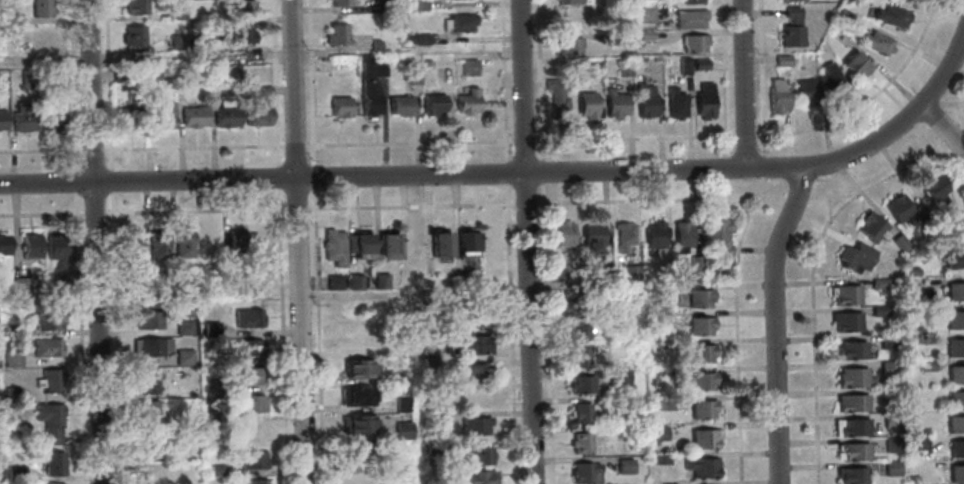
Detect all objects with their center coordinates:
building: (789, 0)
building: (690, 1)
building: (852, 1)
building: (339, 2)
building: (571, 2)
building: (385, 4)
building: (418, 4)
building: (40, 7)
building: (134, 7)
building: (241, 8)
building: (644, 14)
building: (177, 15)
building: (841, 15)
building: (890, 16)
building: (8, 17)
building: (688, 17)
building: (457, 22)
building: (790, 28)
building: (242, 34)
building: (336, 34)
building: (643, 35)
building: (133, 36)
building: (612, 37)
building: (419, 39)
building: (175, 42)
building: (692, 42)
building: (874, 42)
building: (199, 43)
building: (567, 44)
building: (374, 45)
building: (655, 58)
building: (780, 60)
building: (426, 64)
building: (682, 64)
building: (699, 64)
building: (854, 64)
building: (468, 66)
building: (336, 67)
building: (622, 68)
building: (594, 69)
road: (538, 70)
road: (946, 71)
building: (120, 74)
building: (213, 74)
building: (410, 74)
building: (180, 75)
building: (150, 76)
road: (762, 76)
building: (28, 77)
building: (830, 79)
road: (501, 81)
road: (310, 82)
building: (370, 82)
road: (274, 83)
road: (743, 83)
road: (726, 84)
road: (71, 85)
road: (106, 85)
building: (804, 91)
building: (775, 96)
building: (555, 99)
building: (643, 99)
building: (703, 100)
building: (466, 101)
building: (674, 102)
building: (613, 103)
building: (432, 104)
building: (585, 104)
building: (399, 105)
building: (339, 106)
building: (163, 114)
building: (256, 114)
road: (958, 115)
building: (128, 116)
building: (192, 116)
building: (225, 116)
building: (23, 117)
building: (51, 117)
road: (960, 119)
building: (2, 120)
road: (942, 127)
road: (946, 130)
road: (764, 134)
road: (522, 141)
road: (407, 142)
road: (293, 145)
road: (192, 147)
road: (936, 147)
road: (91, 149)
road: (40, 150)
road: (764, 160)
road: (504, 172)
road: (469, 173)
road: (763, 173)
road: (312, 176)
road: (74, 177)
road: (277, 177)
road: (541, 178)
road: (110, 180)
road: (74, 187)
building: (932, 187)
road: (798, 195)
road: (834, 195)
road: (660, 199)
road: (524, 203)
road: (409, 205)
building: (896, 208)
road: (295, 209)
road: (193, 210)
road: (41, 213)
road: (93, 213)
building: (923, 217)
building: (869, 226)
building: (954, 228)
building: (564, 233)
building: (683, 233)
building: (655, 234)
building: (719, 234)
building: (624, 235)
building: (594, 237)
road: (94, 241)
building: (264, 242)
road: (297, 242)
building: (348, 242)
building: (465, 242)
road: (525, 242)
building: (898, 242)
building: (182, 243)
building: (237, 243)
building: (412, 243)
building: (439, 243)
building: (3, 244)
building: (157, 244)
building: (360, 244)
building: (386, 244)
building: (30, 245)
building: (129, 245)
building: (333, 246)
building: (56, 256)
building: (854, 256)
building: (953, 258)
building: (696, 264)
building: (604, 265)
building: (912, 272)
building: (633, 274)
building: (560, 275)
building: (380, 280)
building: (355, 281)
road: (812, 281)
building: (332, 282)
building: (22, 284)
building: (878, 284)
building: (660, 287)
building: (127, 289)
building: (227, 289)
building: (608, 292)
building: (954, 292)
road: (413, 294)
building: (845, 294)
building: (701, 297)
building: (914, 310)
building: (878, 311)
building: (472, 315)
building: (661, 317)
building: (149, 318)
building: (246, 318)
building: (46, 320)
building: (954, 320)
road: (773, 321)
building: (845, 321)
building: (702, 325)
building: (185, 327)
building: (210, 328)
road: (736, 328)
building: (11, 329)
building: (578, 329)
road: (509, 333)
road: (545, 333)
road: (317, 335)
building: (427, 335)
road: (280, 336)
road: (78, 337)
road: (114, 337)
building: (923, 337)
building: (351, 340)
building: (887, 341)
building: (466, 344)
building: (149, 346)
building: (45, 347)
building: (246, 347)
building: (953, 347)
building: (616, 349)
building: (851, 350)
building: (702, 353)
building: (580, 356)
building: (182, 357)
building: (10, 358)
building: (428, 363)
building: (925, 365)
building: (355, 368)
building: (887, 368)
building: (473, 372)
building: (955, 374)
building: (248, 375)
building: (620, 376)
building: (400, 377)
building: (852, 377)
building: (47, 380)
building: (145, 380)
building: (703, 380)
building: (581, 383)
building: (211, 384)
road: (414, 389)
building: (11, 394)
building: (888, 395)
building: (354, 396)
building: (474, 399)
building: (955, 400)
building: (246, 401)
building: (850, 402)
building: (663, 403)
building: (401, 405)
building: (704, 408)
building: (146, 411)
building: (581, 412)
building: (228, 415)
building: (436, 417)
building: (889, 419)
building: (48, 420)
building: (354, 423)
building: (954, 424)
building: (473, 425)
building: (849, 427)
building: (401, 430)
building: (907, 431)
building: (614, 432)
building: (657, 433)
building: (706, 438)
building: (581, 442)
building: (146, 443)
building: (917, 443)
building: (890, 444)
building: (431, 447)
building: (956, 449)
building: (355, 451)
building: (852, 451)
building: (474, 454)
building: (251, 459)
building: (659, 459)
building: (52, 463)
building: (626, 466)
building: (702, 466)
building: (891, 468)
building: (214, 469)
building: (150, 472)
building: (586, 472)
building: (15, 473)
building: (956, 474)
building: (850, 476)
building: (476, 477)
building: (911, 479)
building: (253, 481)
building: (54, 483)

